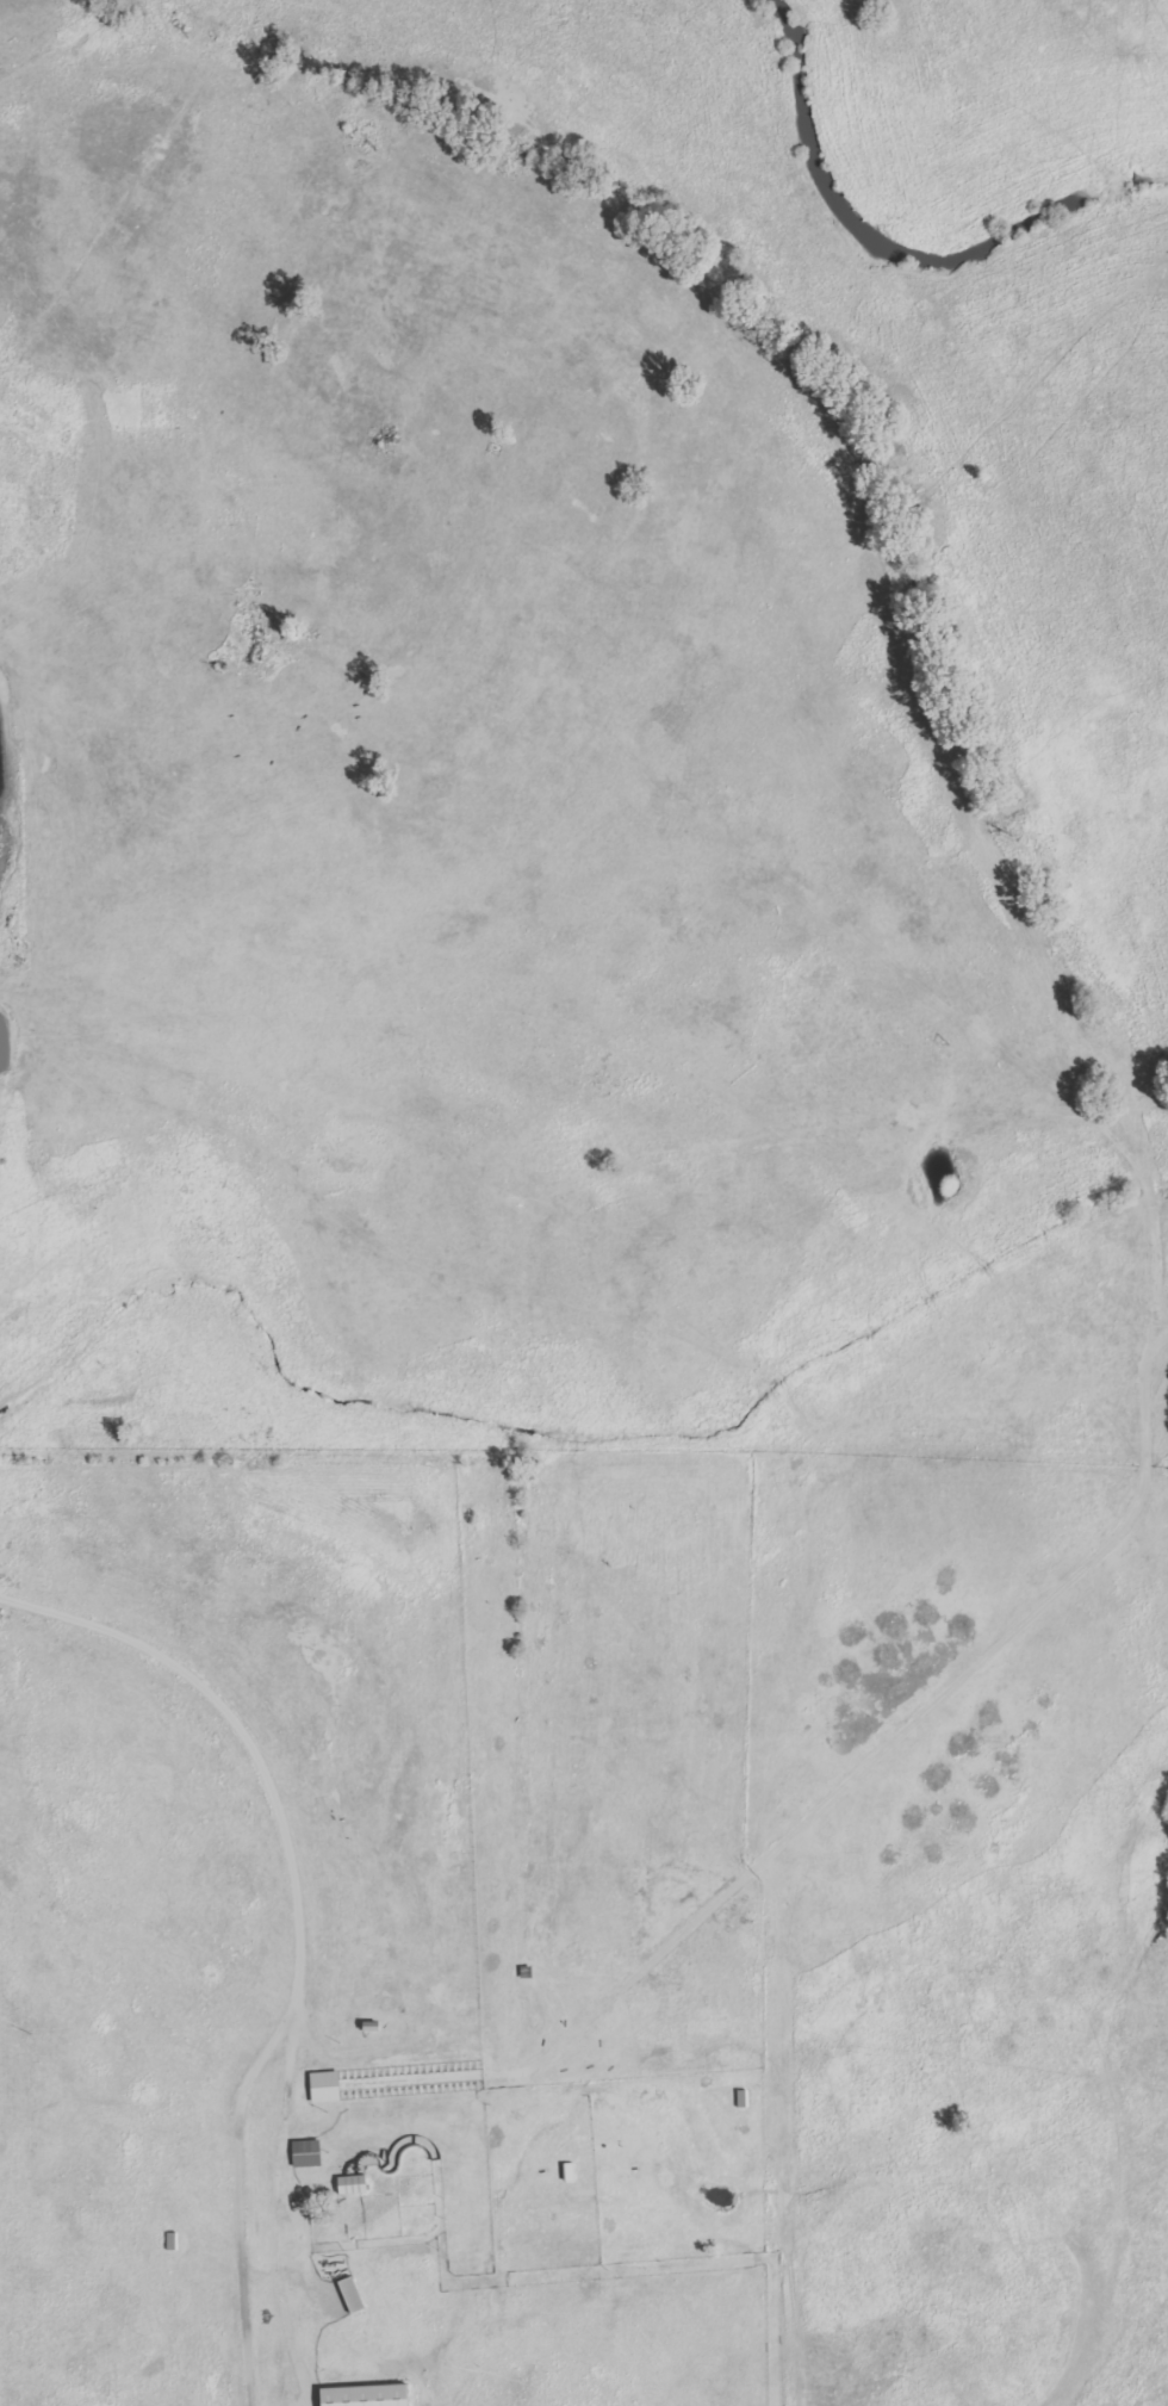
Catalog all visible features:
road: (294, 1920)
building: (329, 2086)
building: (310, 2153)
building: (356, 2184)
building: (372, 2395)

